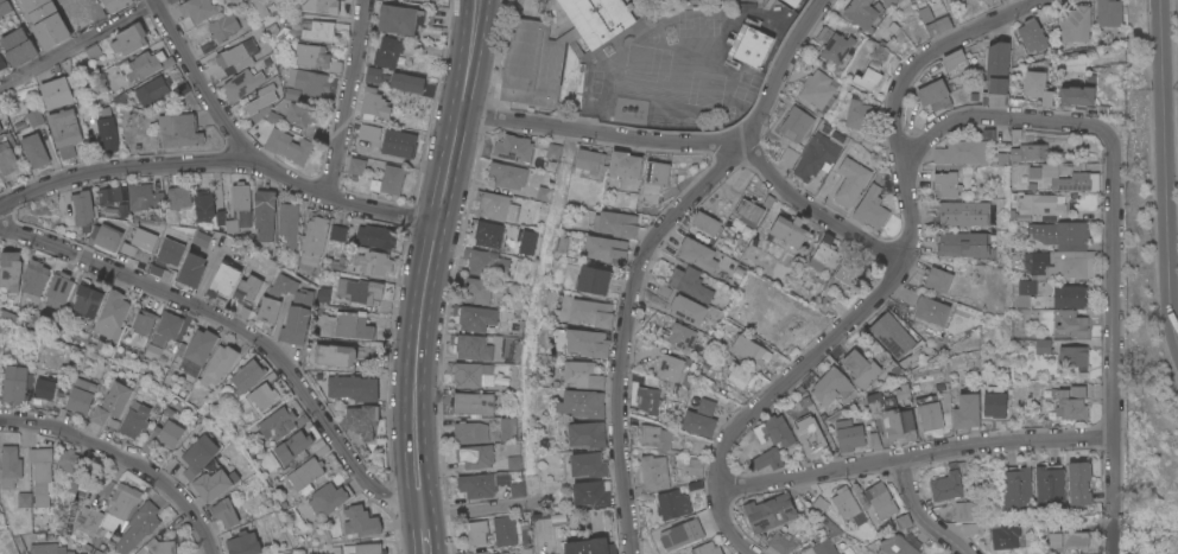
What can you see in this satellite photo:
building: (347, 0)
building: (792, 2)
building: (887, 2)
building: (114, 5)
building: (266, 6)
building: (327, 6)
building: (4, 7)
building: (197, 9)
building: (1108, 12)
building: (861, 13)
building: (437, 17)
building: (598, 18)
building: (933, 18)
building: (398, 19)
building: (45, 23)
building: (291, 23)
building: (1075, 23)
building: (222, 27)
building: (271, 28)
building: (318, 31)
building: (281, 32)
building: (290, 34)
building: (1032, 36)
building: (128, 39)
road: (81, 44)
building: (749, 45)
building: (836, 46)
road: (1163, 46)
building: (17, 47)
building: (91, 51)
building: (387, 52)
building: (235, 57)
building: (316, 58)
building: (532, 62)
building: (956, 62)
building: (996, 65)
building: (2, 66)
building: (142, 66)
road: (778, 72)
building: (375, 76)
building: (868, 76)
road: (198, 79)
building: (245, 81)
building: (308, 82)
building: (406, 83)
building: (1037, 85)
building: (817, 89)
building: (150, 91)
building: (55, 93)
building: (933, 94)
building: (290, 95)
building: (1076, 95)
building: (119, 97)
road: (347, 98)
building: (259, 103)
building: (372, 106)
building: (297, 114)
building: (33, 117)
road: (996, 117)
building: (132, 119)
building: (862, 120)
building: (791, 122)
building: (63, 128)
building: (0, 130)
building: (178, 130)
building: (368, 133)
road: (600, 134)
building: (106, 135)
building: (398, 144)
building: (286, 146)
building: (513, 147)
building: (33, 151)
building: (552, 151)
building: (963, 152)
building: (1027, 152)
building: (788, 157)
building: (818, 158)
building: (7, 160)
road: (221, 161)
building: (588, 161)
building: (623, 164)
building: (355, 167)
building: (1032, 172)
building: (507, 174)
building: (654, 176)
building: (1069, 176)
building: (387, 180)
building: (850, 182)
building: (945, 184)
building: (543, 192)
building: (108, 196)
building: (142, 197)
building: (177, 198)
building: (494, 204)
building: (202, 205)
building: (1038, 206)
building: (870, 208)
building: (235, 209)
building: (748, 210)
building: (123, 211)
road: (816, 211)
building: (78, 212)
building: (962, 212)
building: (264, 215)
road: (1167, 218)
building: (707, 222)
building: (616, 223)
building: (286, 225)
building: (788, 229)
building: (315, 230)
building: (1038, 230)
building: (486, 233)
building: (336, 234)
building: (1069, 235)
building: (374, 236)
building: (104, 238)
building: (526, 241)
road: (908, 242)
building: (198, 243)
building: (560, 243)
building: (962, 243)
building: (138, 244)
building: (606, 248)
road: (431, 254)
building: (697, 254)
building: (823, 255)
building: (165, 256)
building: (1037, 261)
building: (373, 262)
building: (484, 262)
building: (1073, 267)
building: (8, 268)
building: (190, 270)
building: (849, 272)
building: (33, 278)
building: (938, 279)
building: (593, 280)
building: (222, 282)
building: (690, 282)
building: (1027, 286)
building: (475, 288)
building: (246, 289)
building: (356, 289)
building: (56, 291)
building: (1069, 295)
building: (84, 301)
building: (292, 308)
building: (686, 308)
building: (266, 310)
building: (931, 310)
building: (591, 312)
building: (110, 316)
building: (474, 317)
building: (11, 318)
building: (1072, 323)
building: (344, 325)
building: (140, 326)
building: (165, 329)
road: (240, 330)
road: (625, 331)
building: (892, 335)
building: (680, 336)
building: (587, 342)
road: (1110, 344)
building: (1043, 345)
building: (470, 346)
building: (749, 351)
building: (195, 352)
building: (334, 356)
building: (1072, 356)
building: (217, 365)
building: (671, 368)
building: (861, 368)
building: (469, 374)
building: (582, 374)
building: (246, 375)
building: (739, 375)
building: (13, 384)
building: (830, 386)
building: (351, 388)
building: (43, 389)
building: (78, 396)
building: (262, 396)
building: (648, 399)
building: (994, 401)
building: (470, 402)
building: (110, 403)
building: (582, 403)
building: (1064, 405)
building: (705, 406)
building: (965, 410)
building: (929, 412)
building: (892, 418)
building: (133, 420)
building: (360, 420)
building: (698, 422)
building: (277, 424)
building: (507, 428)
building: (779, 429)
building: (469, 432)
building: (587, 434)
building: (848, 434)
building: (163, 437)
building: (654, 437)
building: (811, 437)
building: (292, 448)
building: (508, 448)
building: (361, 450)
building: (197, 456)
building: (474, 456)
road: (913, 456)
building: (66, 459)
road: (123, 459)
building: (766, 459)
building: (514, 461)
building: (589, 464)
building: (695, 466)
building: (654, 472)
building: (42, 473)
building: (304, 473)
building: (14, 475)
building: (213, 482)
building: (1078, 482)
building: (487, 484)
building: (945, 485)
building: (1049, 485)
building: (1016, 488)
building: (70, 489)
building: (591, 492)
building: (328, 498)
building: (880, 499)
building: (672, 504)
building: (848, 505)
road: (479, 510)
building: (969, 510)
building: (109, 511)
building: (769, 511)
building: (223, 512)
road: (918, 514)
building: (558, 520)
building: (359, 521)
building: (904, 521)
building: (595, 523)
road: (728, 526)
building: (138, 527)
building: (503, 529)
building: (476, 531)
building: (1053, 531)
road: (424, 533)
building: (679, 535)
building: (1006, 535)
building: (1075, 540)
building: (239, 542)
building: (158, 543)
building: (781, 543)
building: (590, 546)
building: (897, 546)
building: (824, 547)
building: (50, 548)
building: (705, 548)
building: (362, 549)
building: (545, 552)
building: (503, 553)
building: (676, 553)
building: (840, 553)

